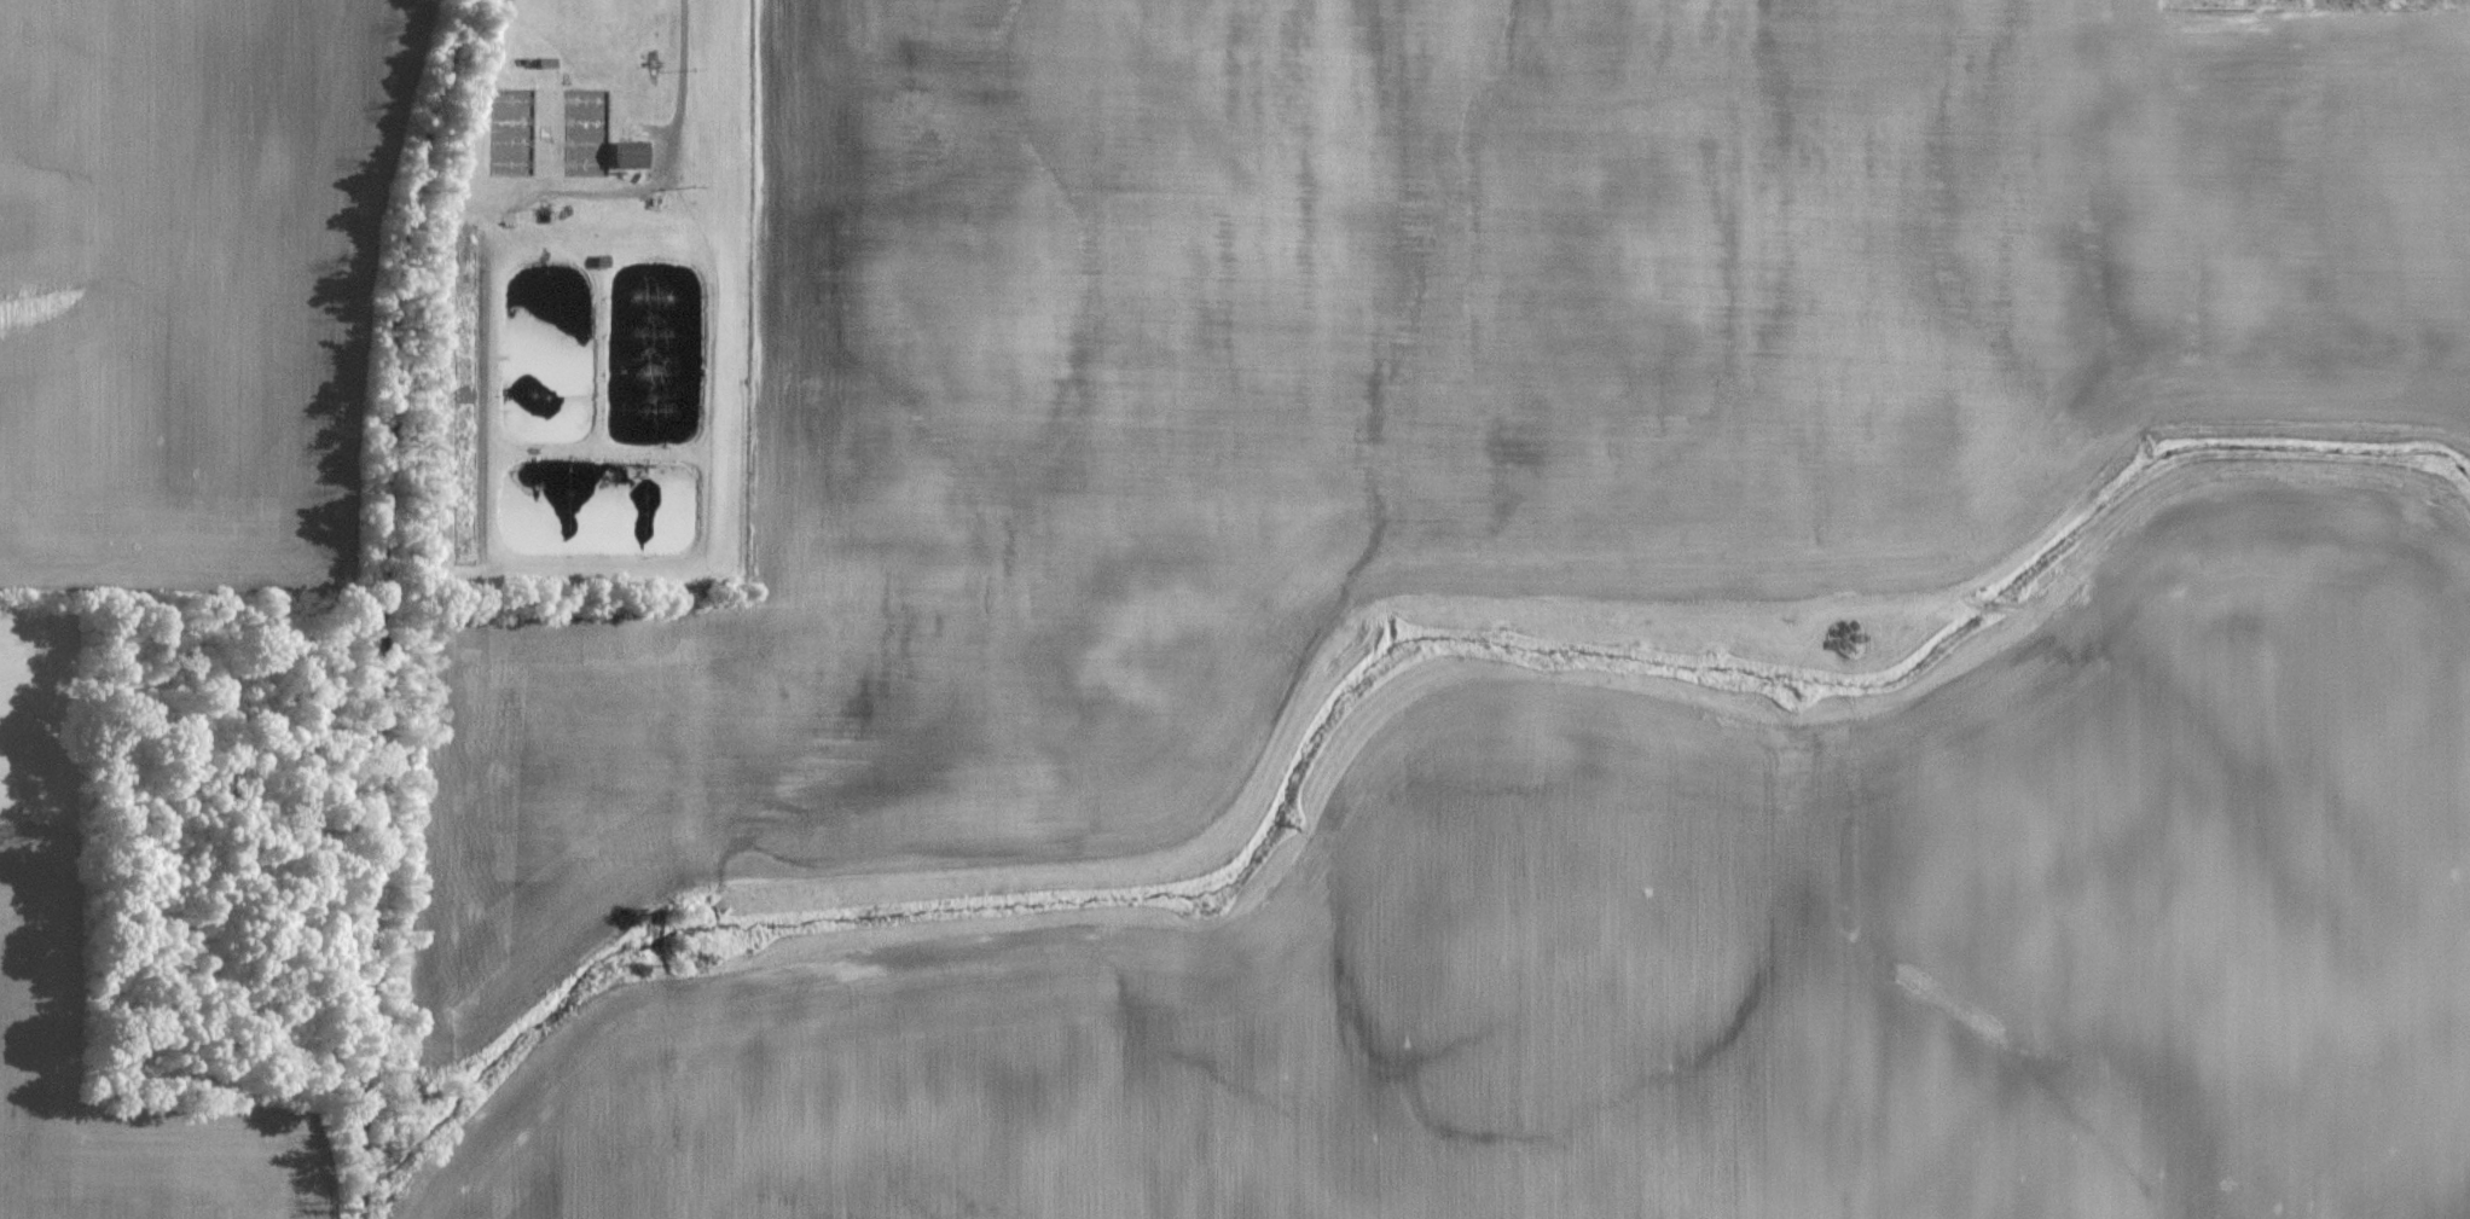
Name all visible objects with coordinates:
road: (678, 53)
building: (627, 155)

